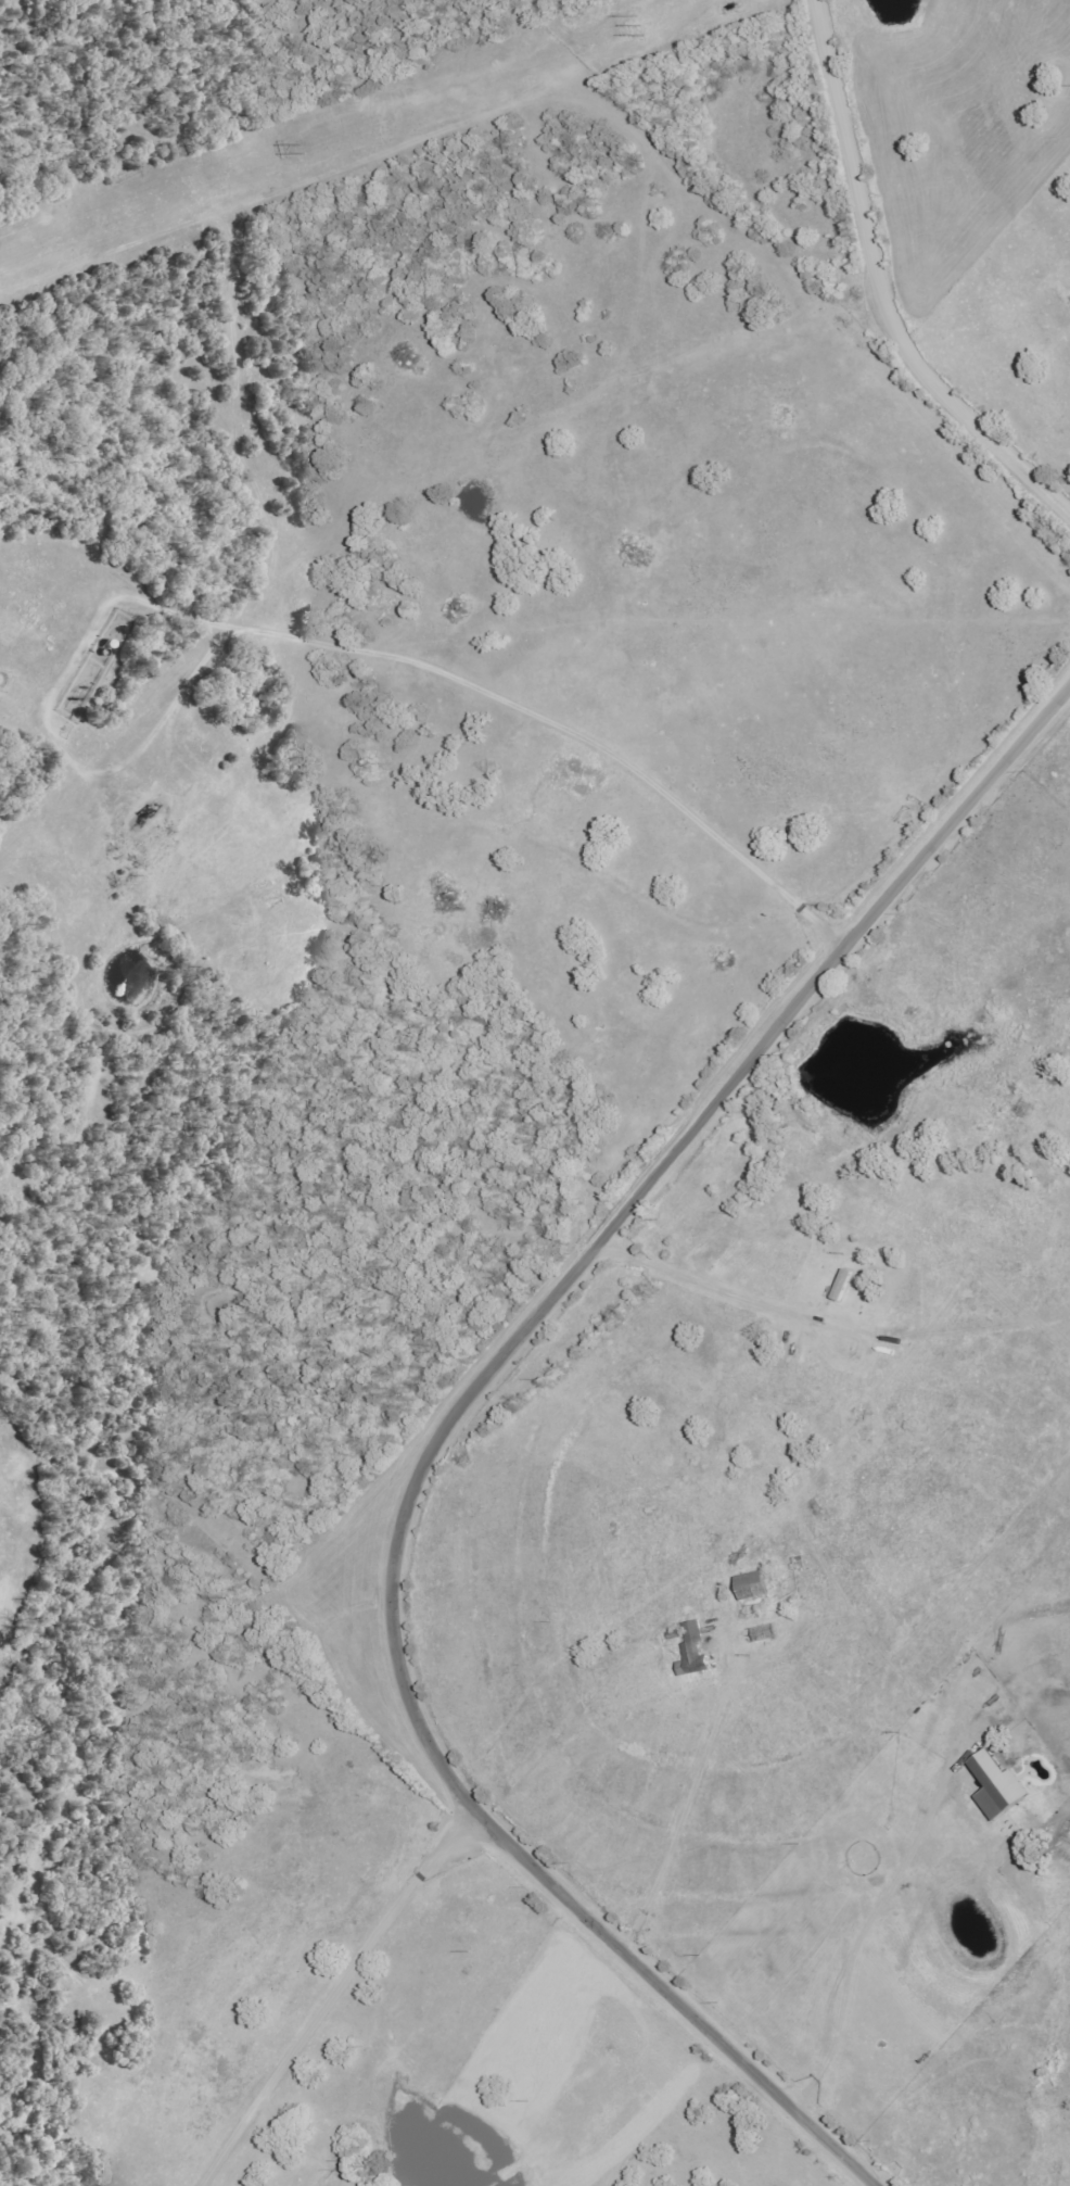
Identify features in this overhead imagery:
power tower: (615, 30)
power tower: (282, 152)
road: (882, 289)
road: (470, 682)
building: (842, 1285)
road: (442, 1423)
building: (752, 1585)
building: (693, 1651)
building: (997, 1785)
road: (678, 1802)
road: (335, 1989)
road: (786, 2169)

